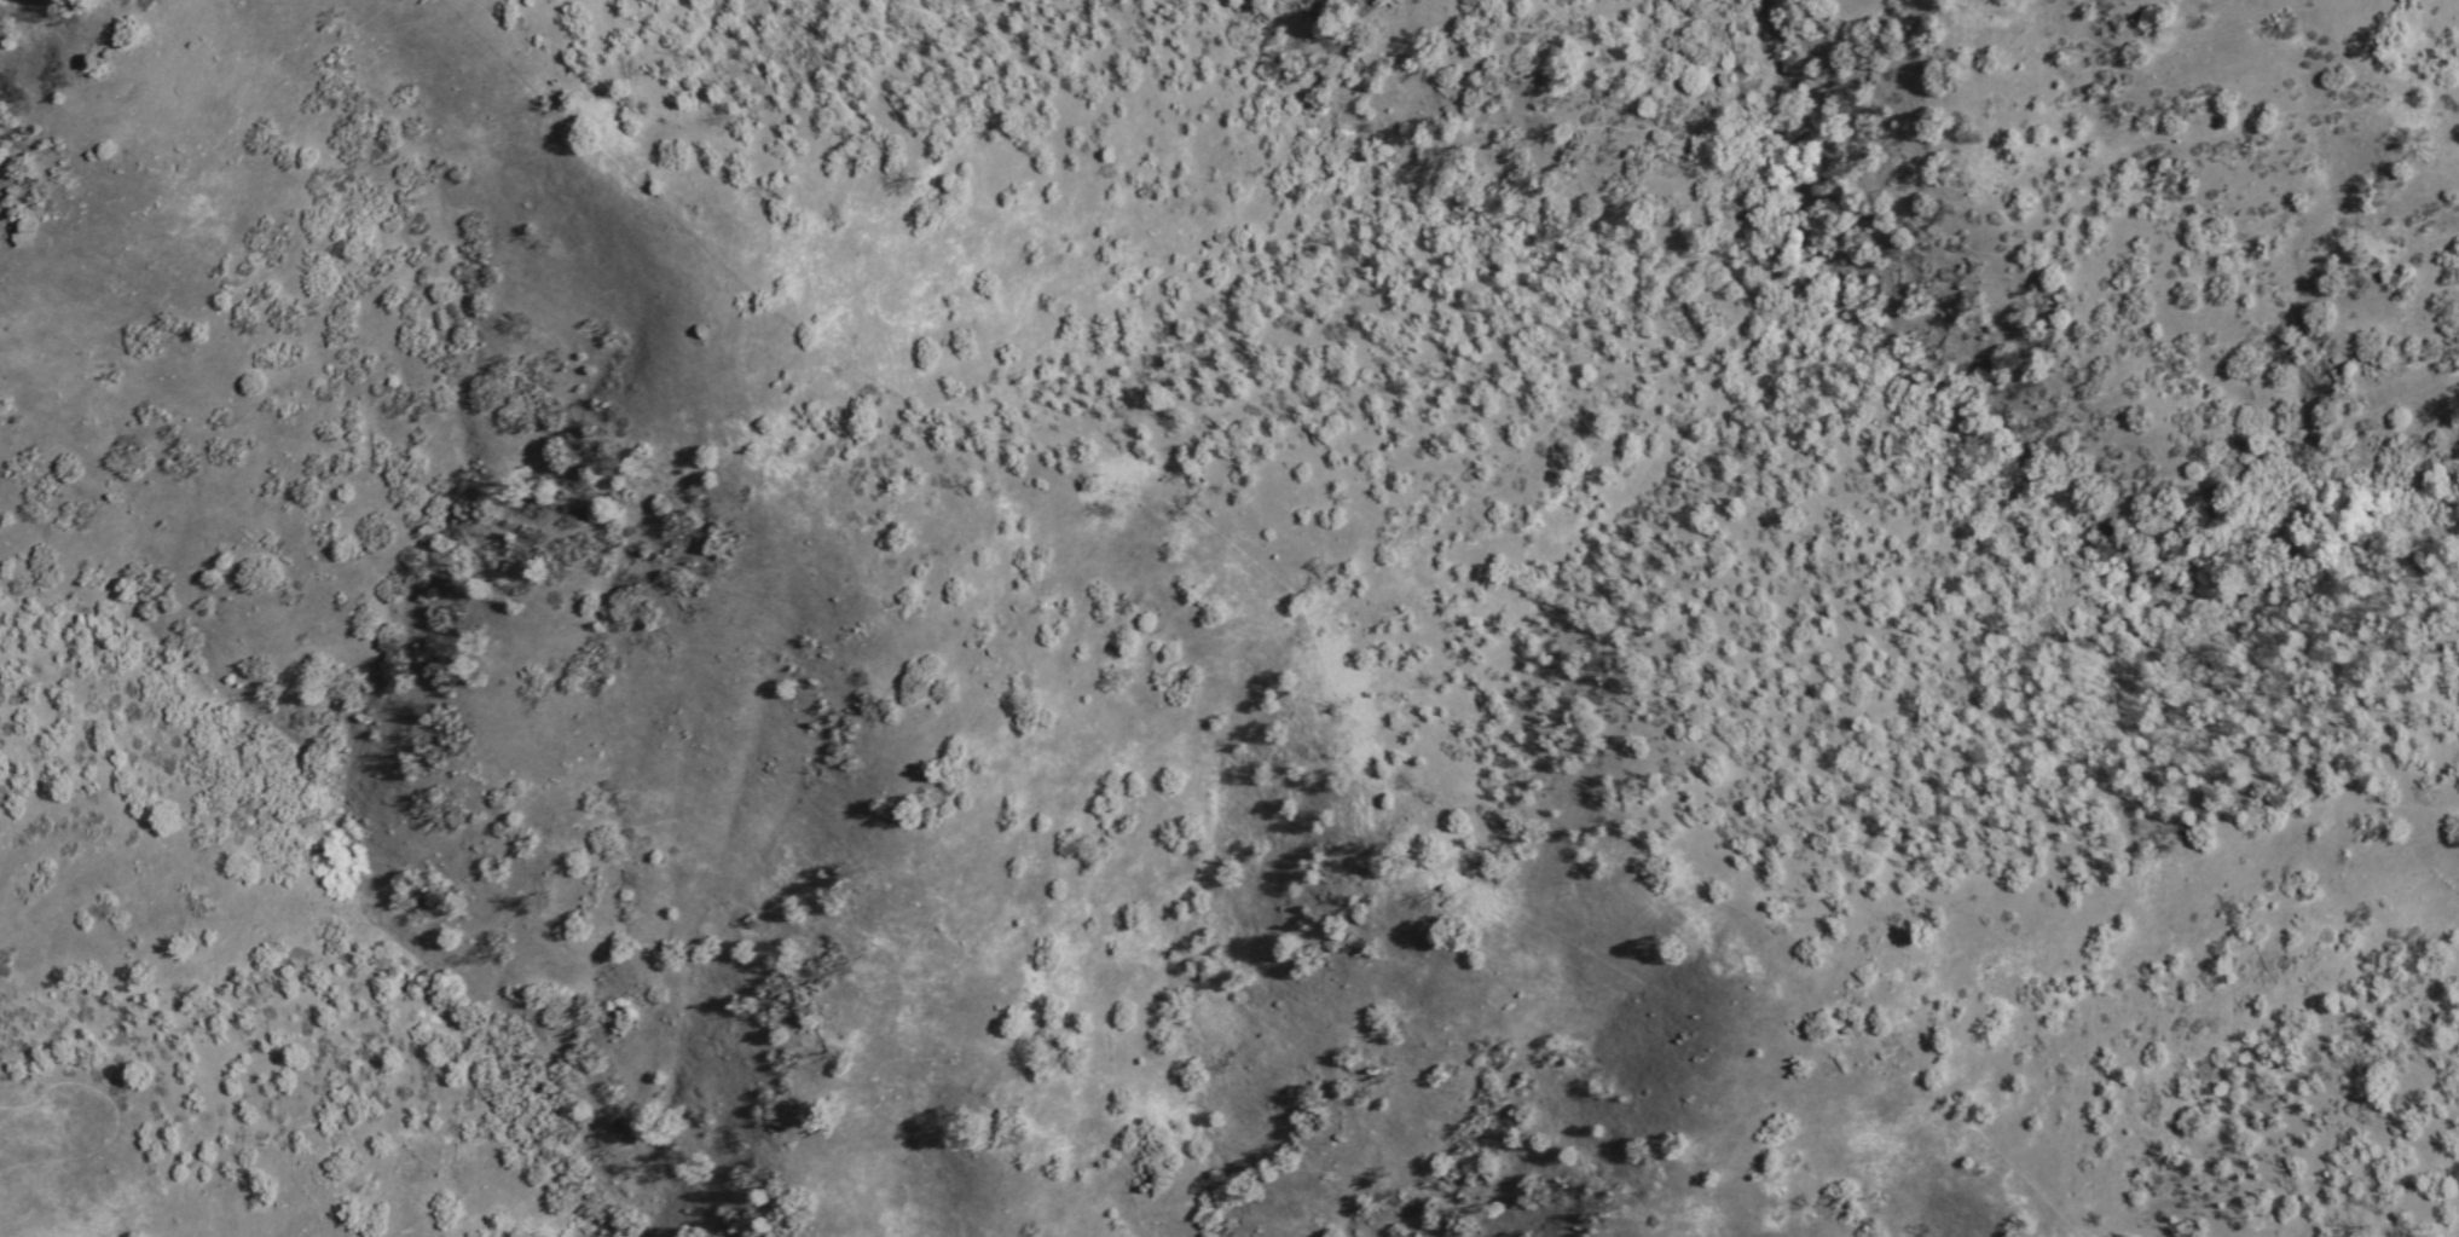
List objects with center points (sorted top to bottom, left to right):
road: (116, 1117)

